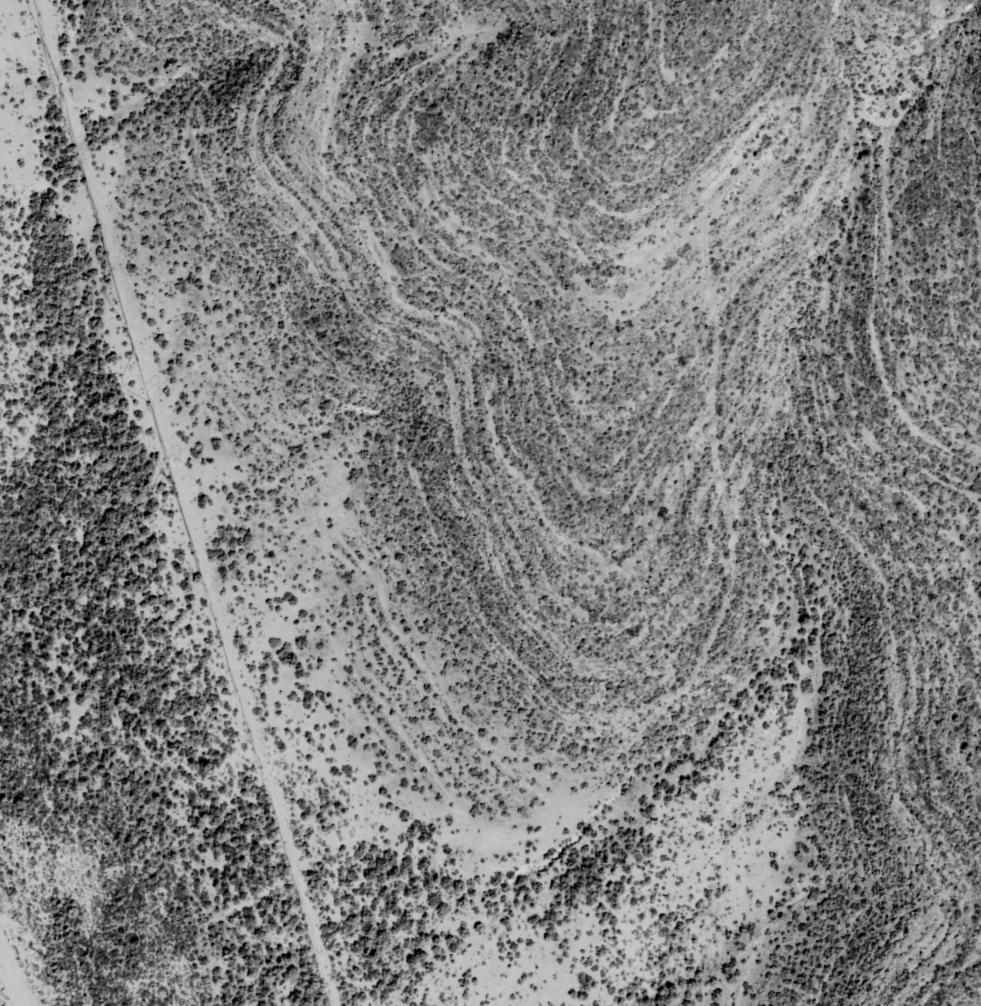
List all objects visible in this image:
road: (5, 995)

